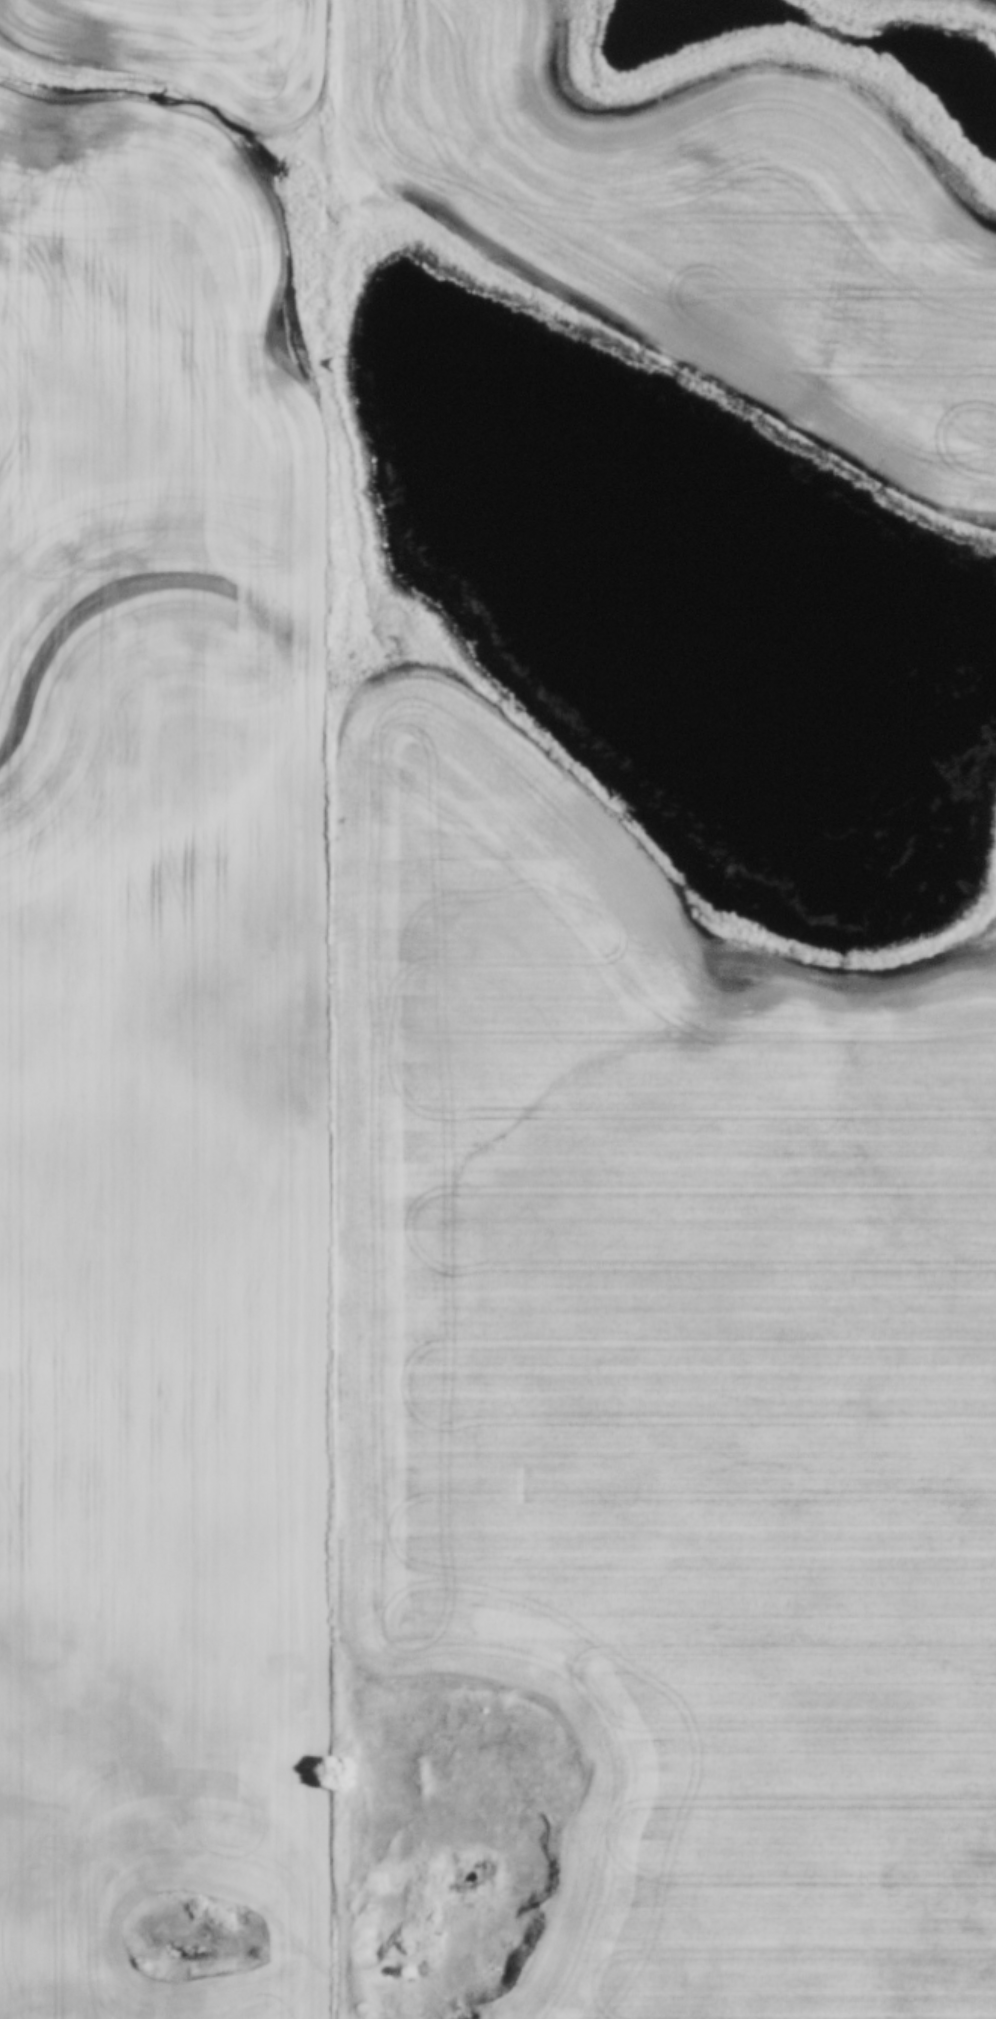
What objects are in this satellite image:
road: (578, 1882)

